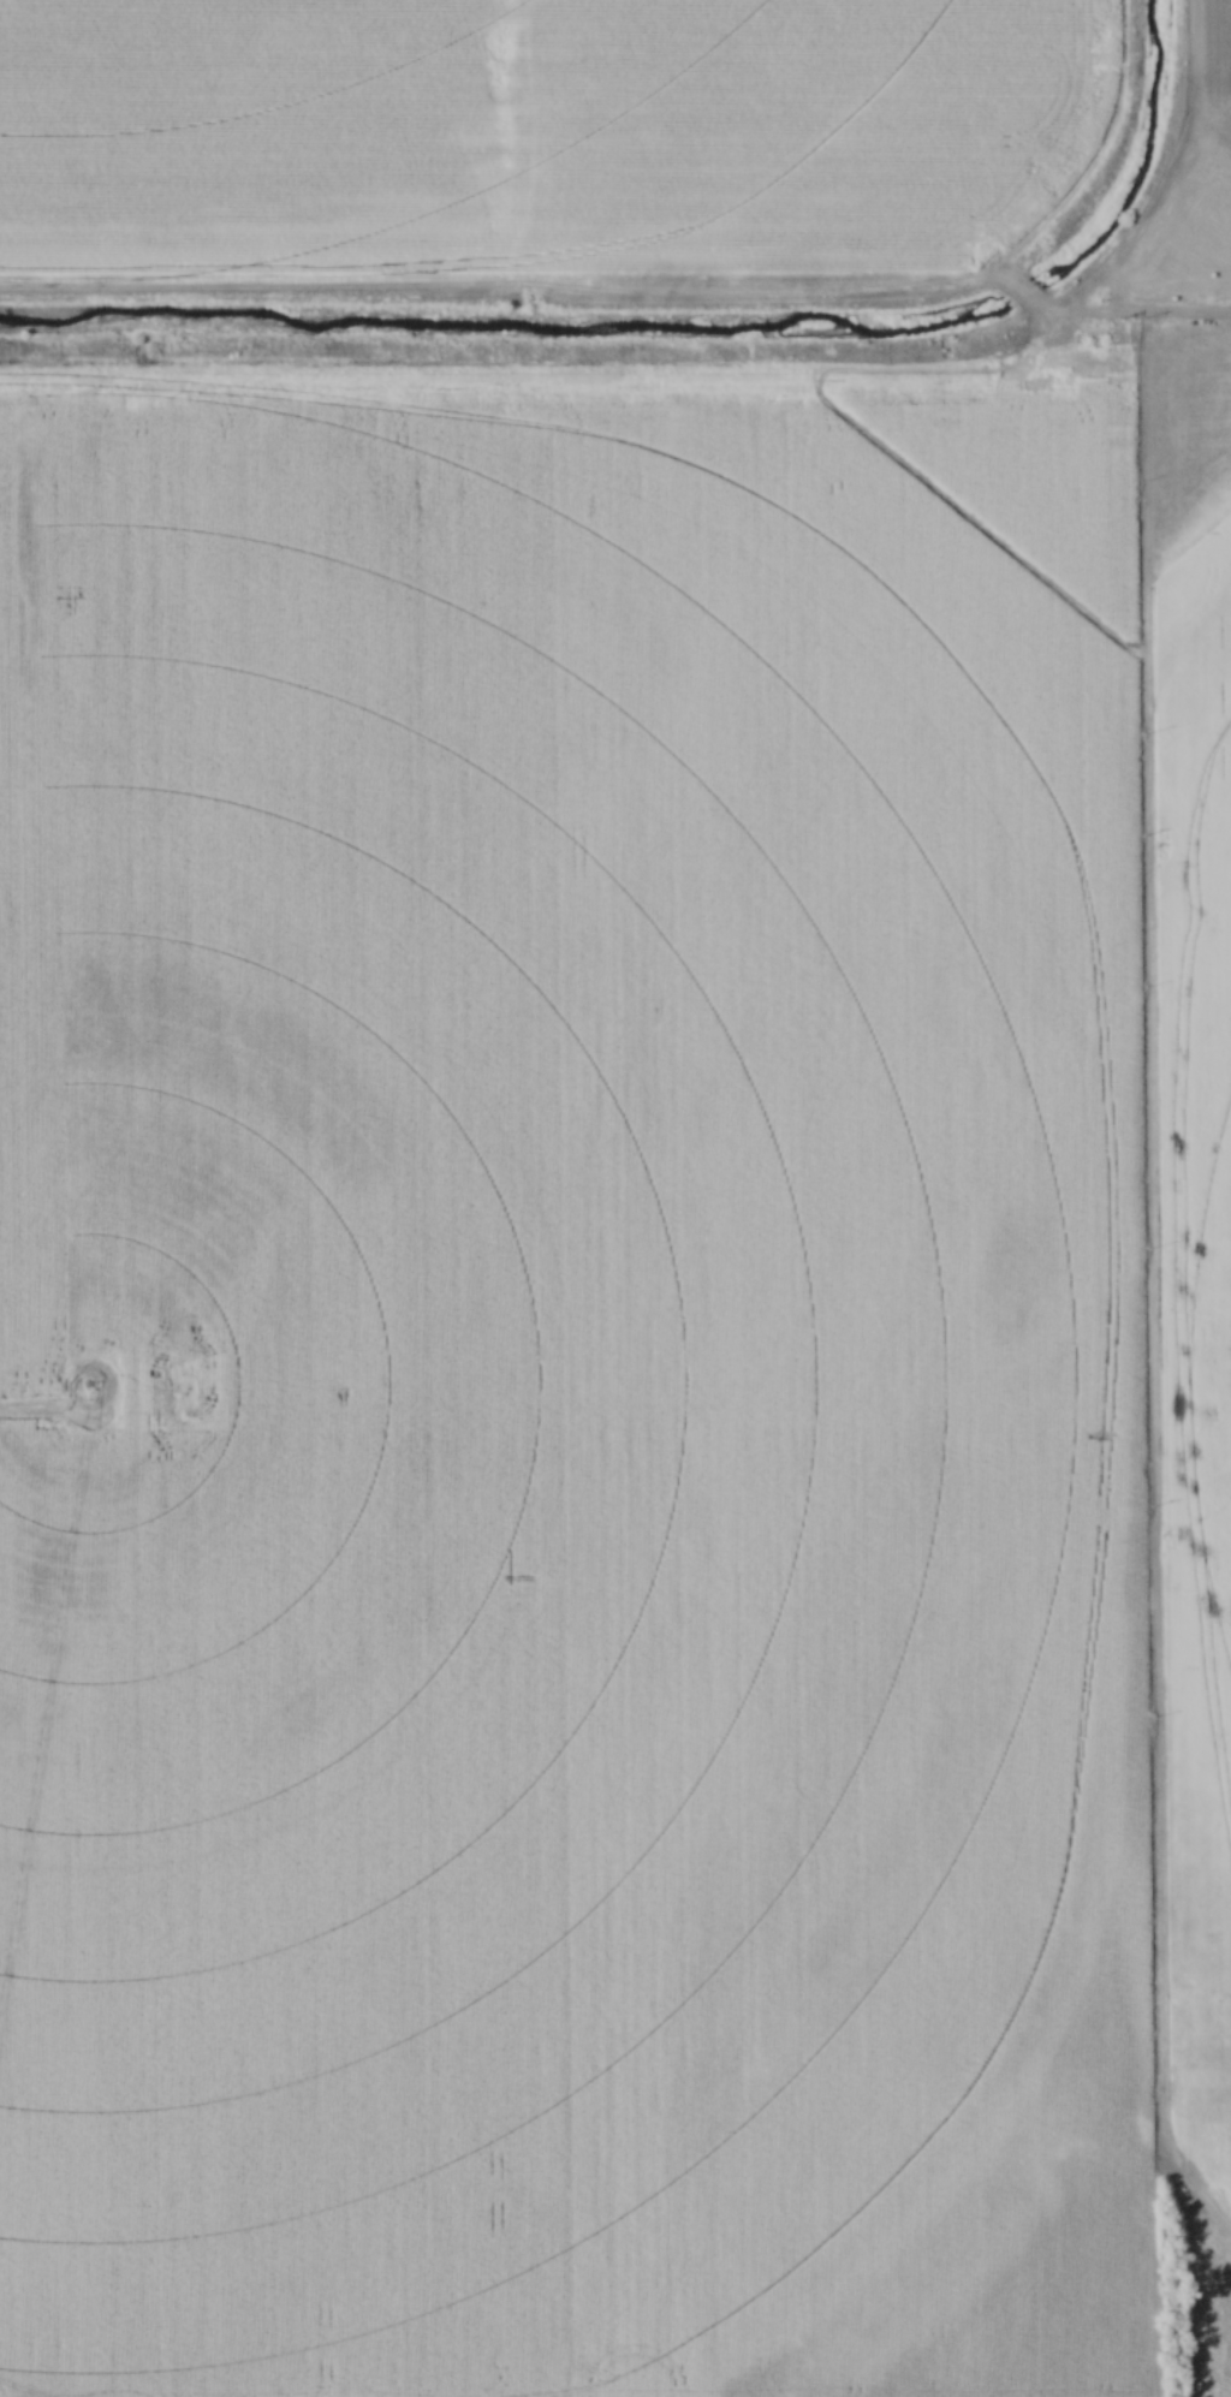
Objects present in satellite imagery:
road: (1158, 2206)

